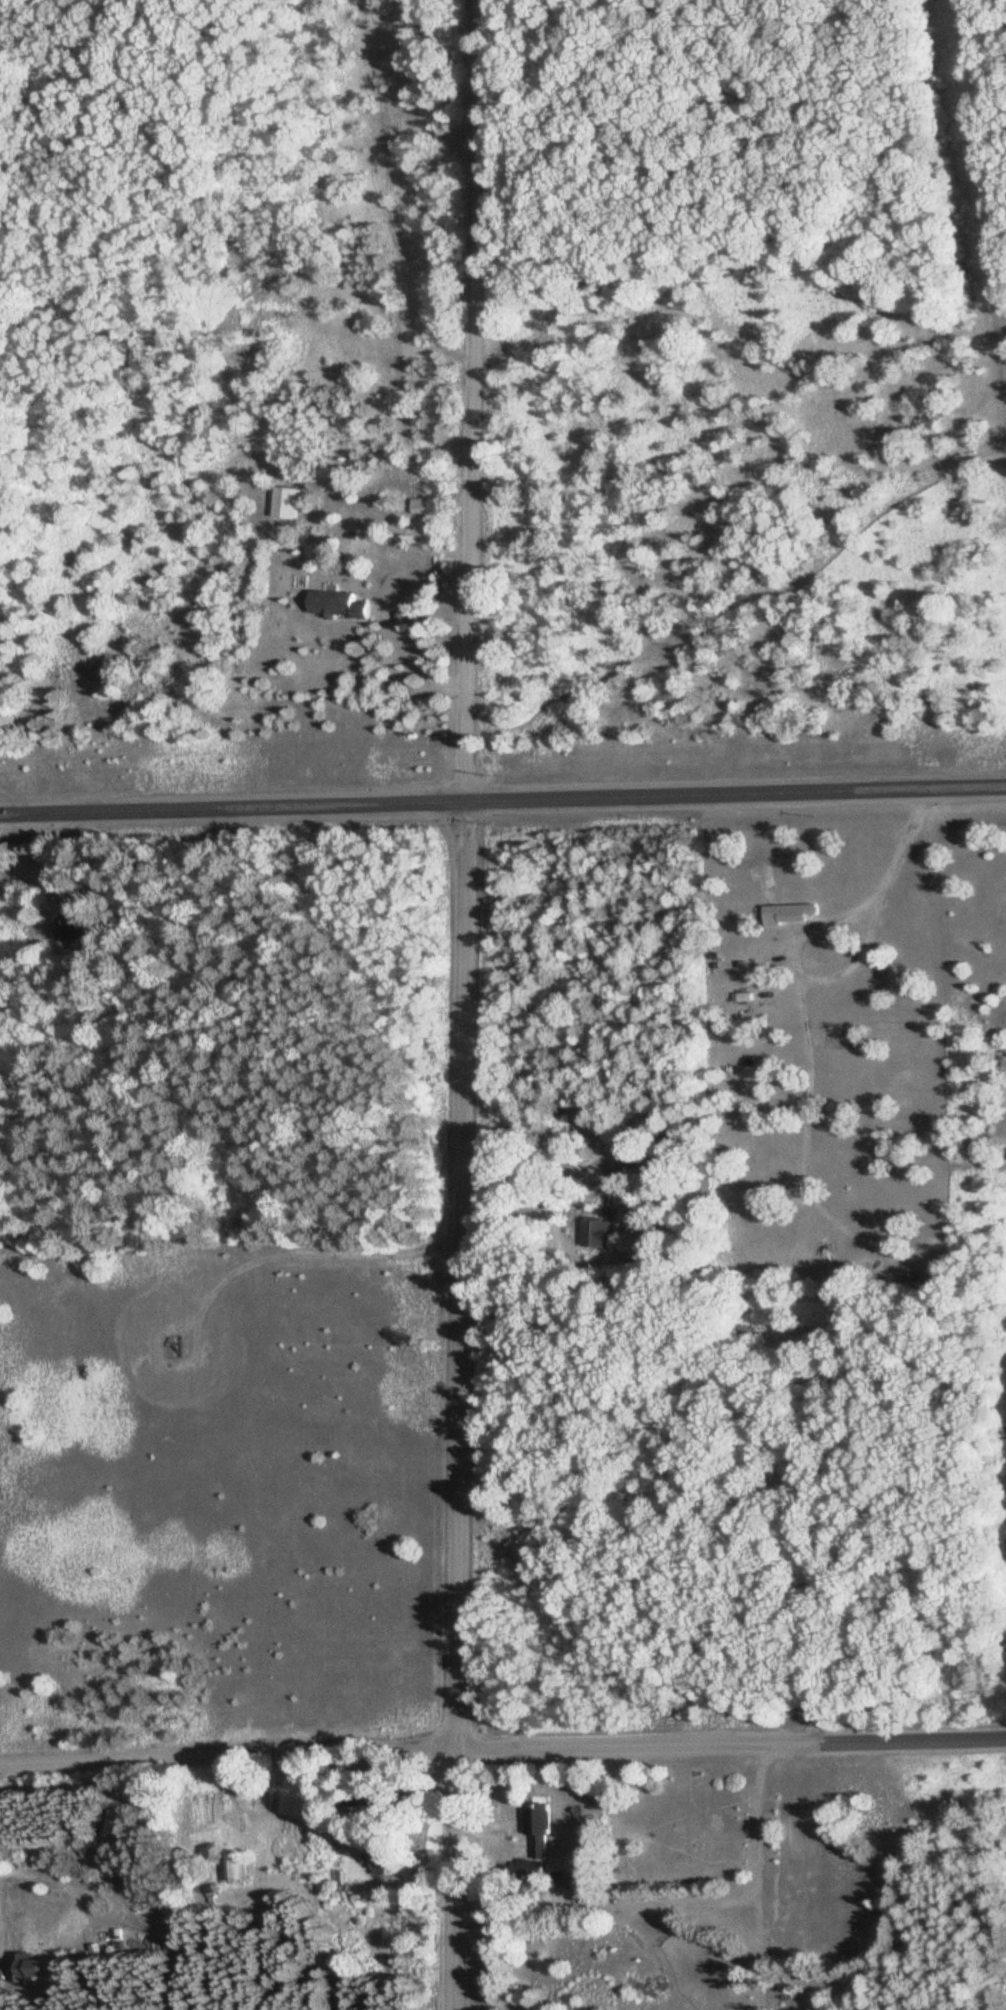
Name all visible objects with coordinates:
road: (471, 401)
building: (287, 501)
building: (422, 504)
building: (339, 604)
road: (601, 798)
road: (99, 812)
building: (790, 913)
building: (68, 927)
building: (658, 1109)
building: (653, 1171)
building: (599, 1233)
road: (245, 1264)
road: (458, 1406)
road: (916, 1737)
road: (412, 1750)
building: (123, 1825)
building: (541, 1848)
building: (381, 1856)
building: (239, 1868)

